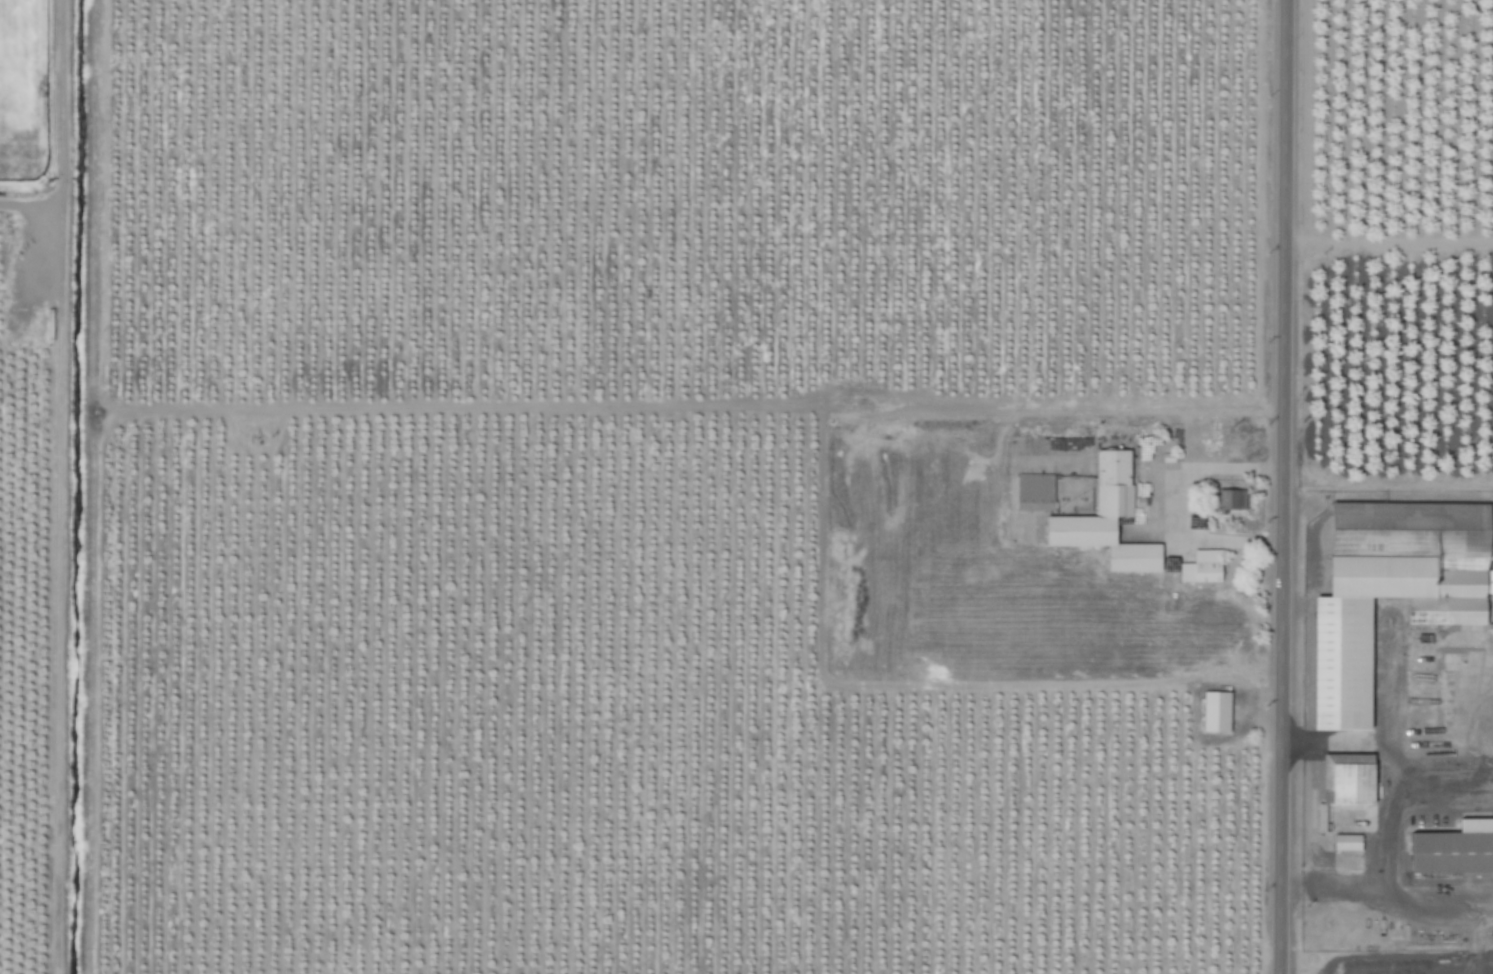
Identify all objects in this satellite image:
road: (1065, 413)
road: (1283, 487)
building: (1036, 494)
building: (1228, 501)
road: (1170, 508)
building: (1108, 520)
building: (1204, 568)
building: (1392, 594)
building: (1490, 641)
building: (1217, 713)
road: (1388, 742)
road: (1386, 816)
building: (1348, 844)
building: (1454, 851)
road: (1388, 893)

